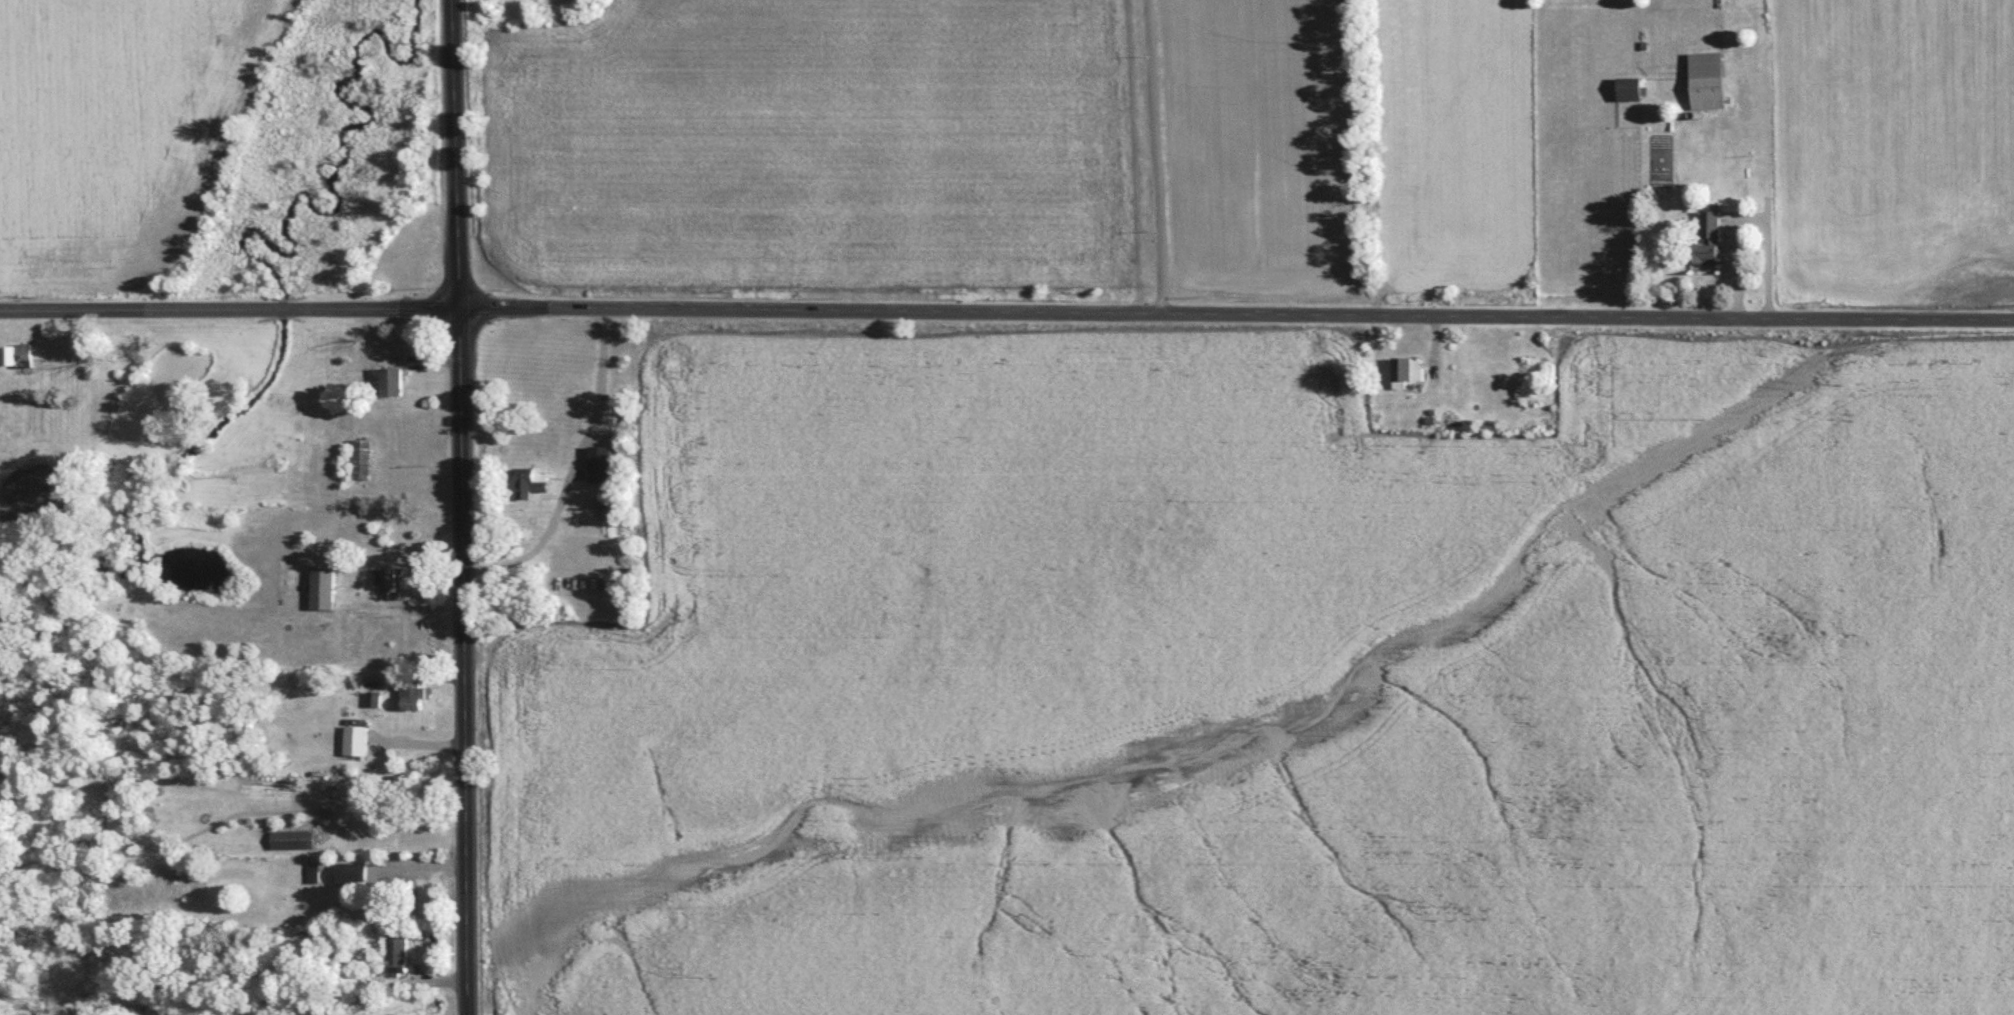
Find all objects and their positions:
building: (1712, 84)
building: (1636, 92)
road: (1132, 156)
road: (1152, 156)
building: (1715, 241)
road: (1007, 312)
building: (21, 360)
building: (1419, 373)
building: (396, 386)
building: (364, 463)
building: (606, 467)
building: (535, 488)
road: (462, 507)
building: (568, 572)
building: (393, 585)
building: (325, 591)
building: (387, 621)
building: (353, 640)
building: (417, 700)
building: (342, 835)
building: (296, 844)
building: (354, 877)
building: (402, 958)

